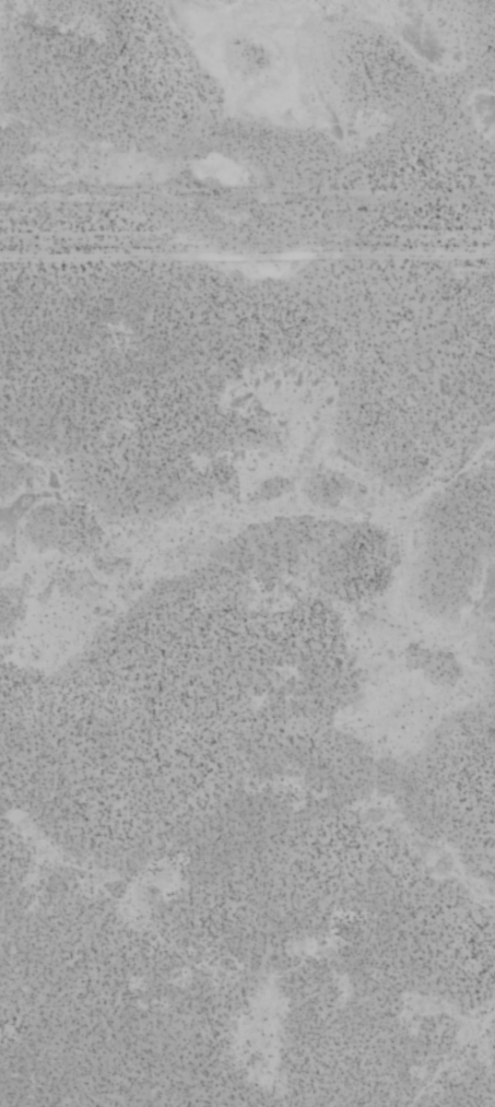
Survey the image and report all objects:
airport: (247, 682)

